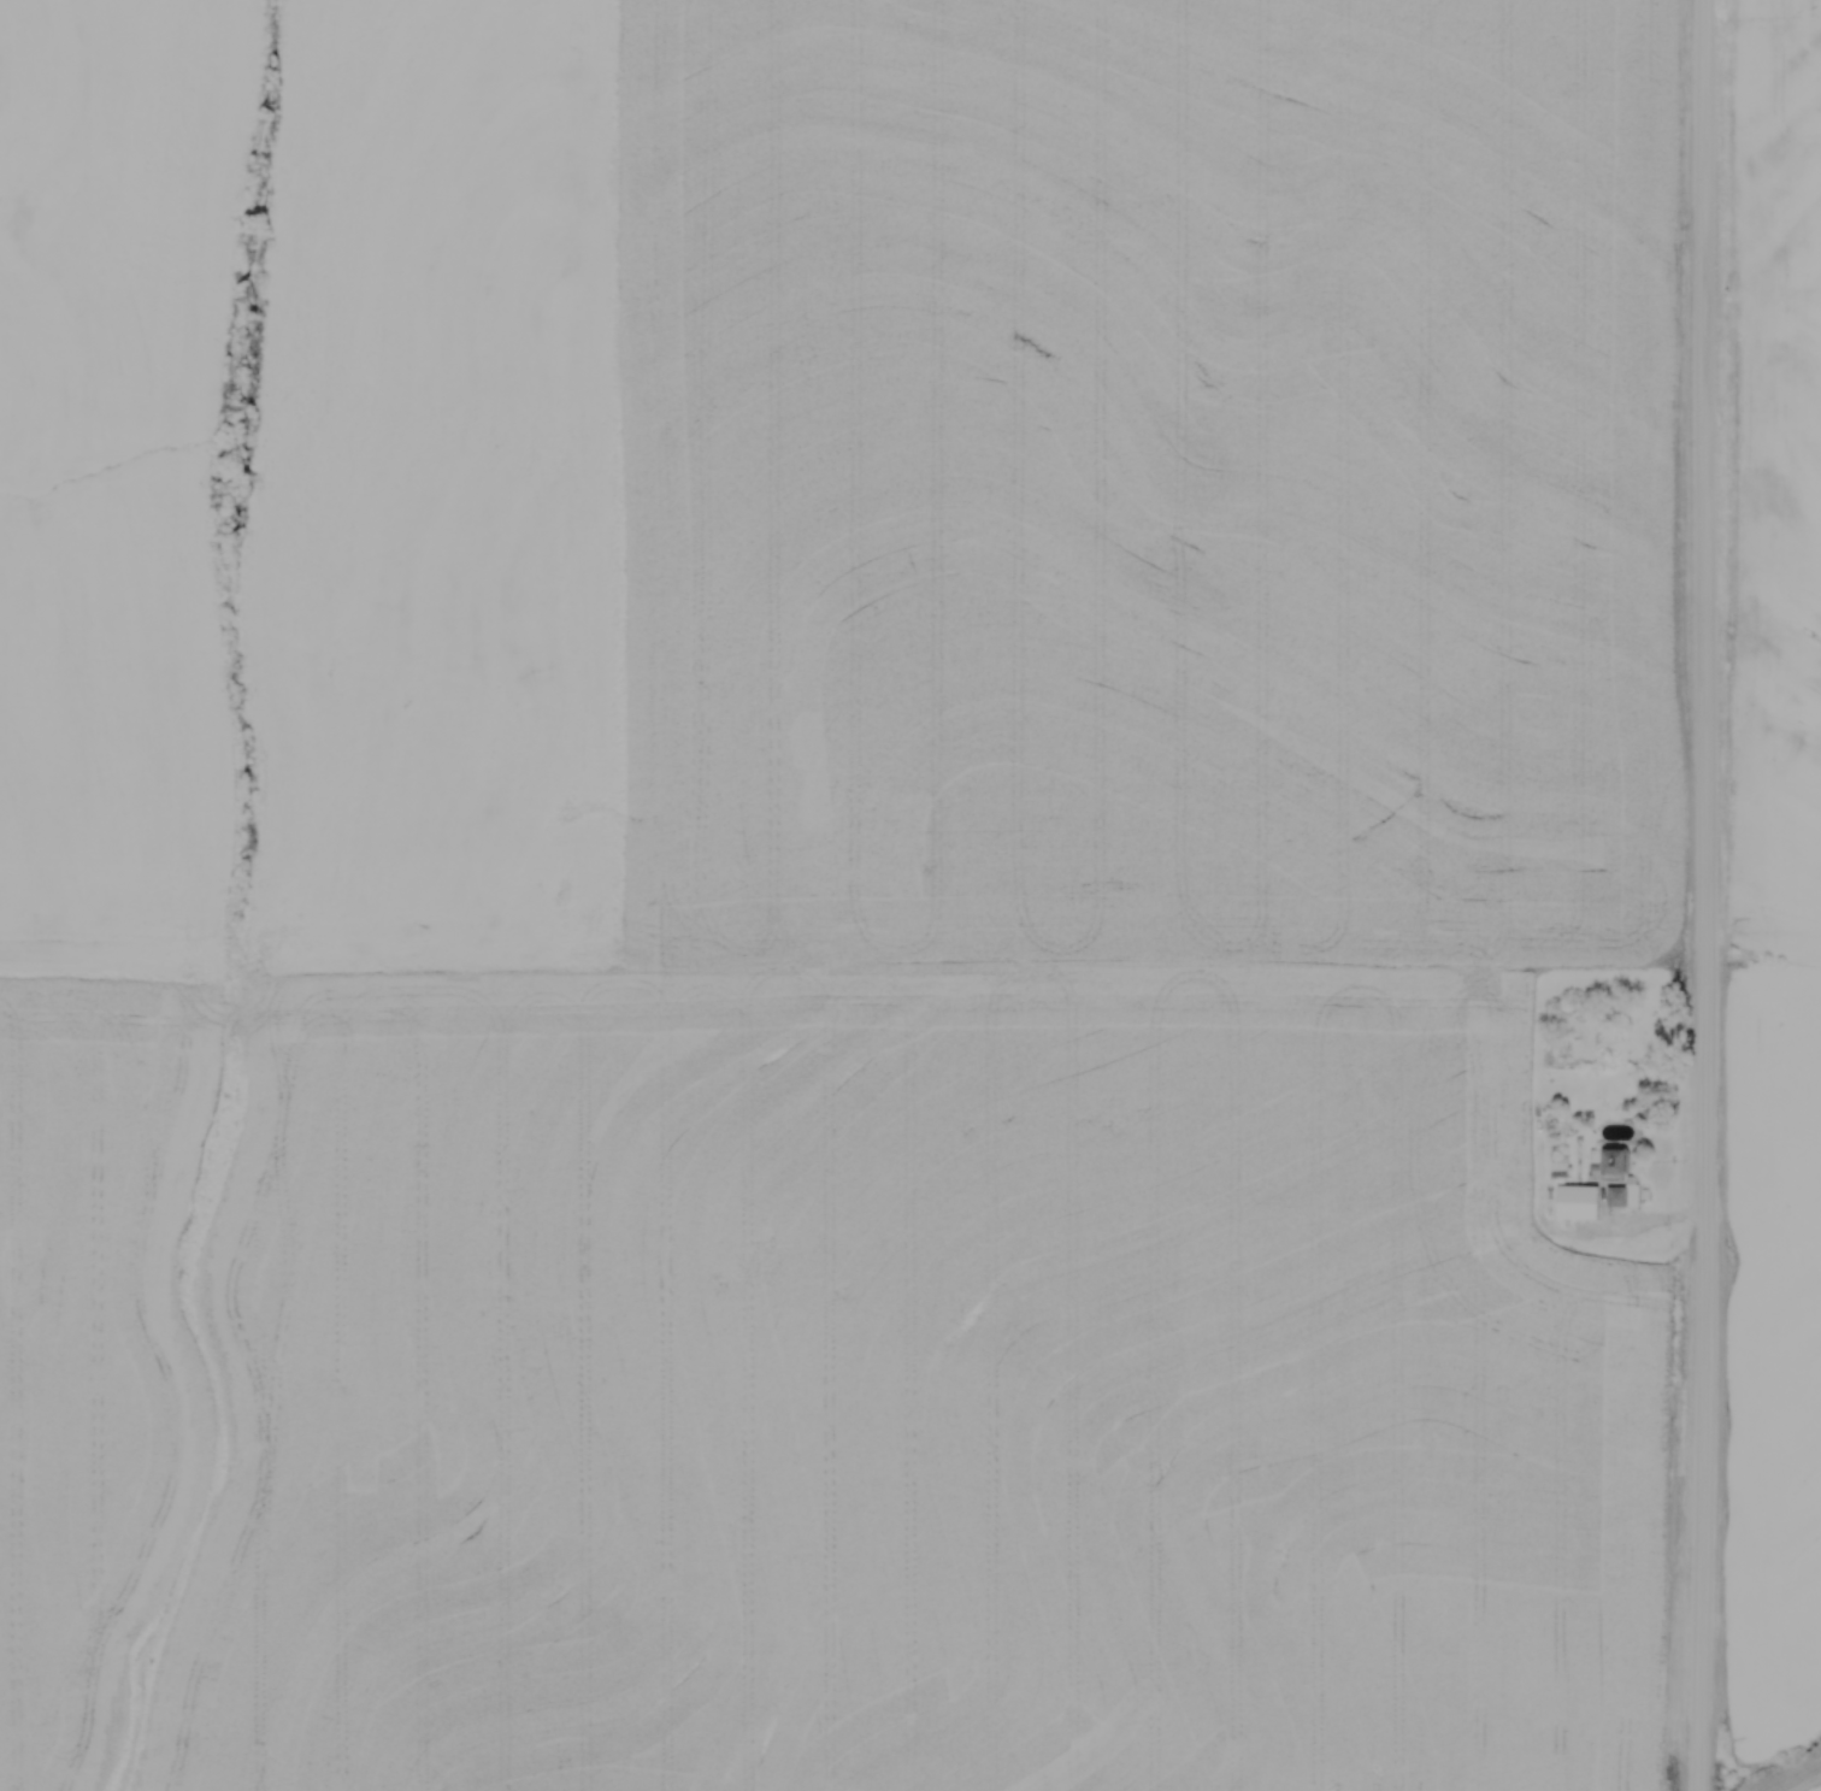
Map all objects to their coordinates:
road: (1704, 895)
building: (1610, 1021)
building: (1525, 1157)
building: (1621, 1163)
building: (1524, 1182)
building: (1622, 1197)
building: (1581, 1203)

